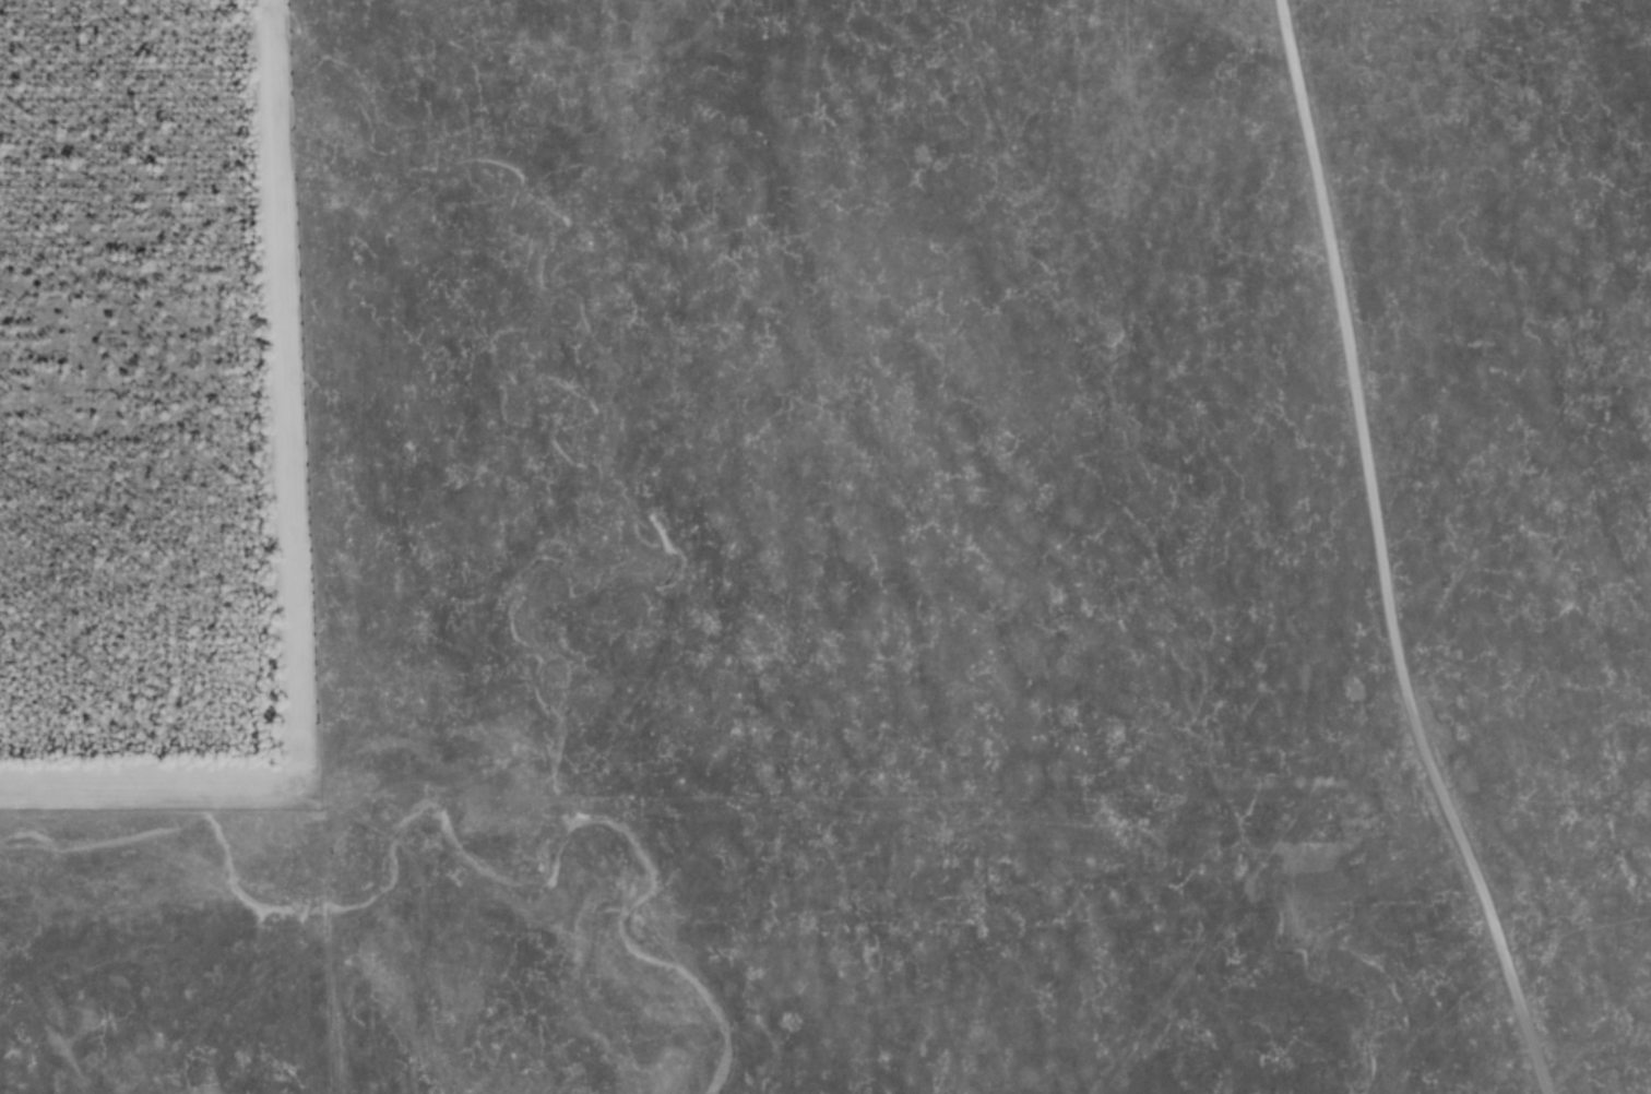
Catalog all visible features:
road: (1378, 556)

